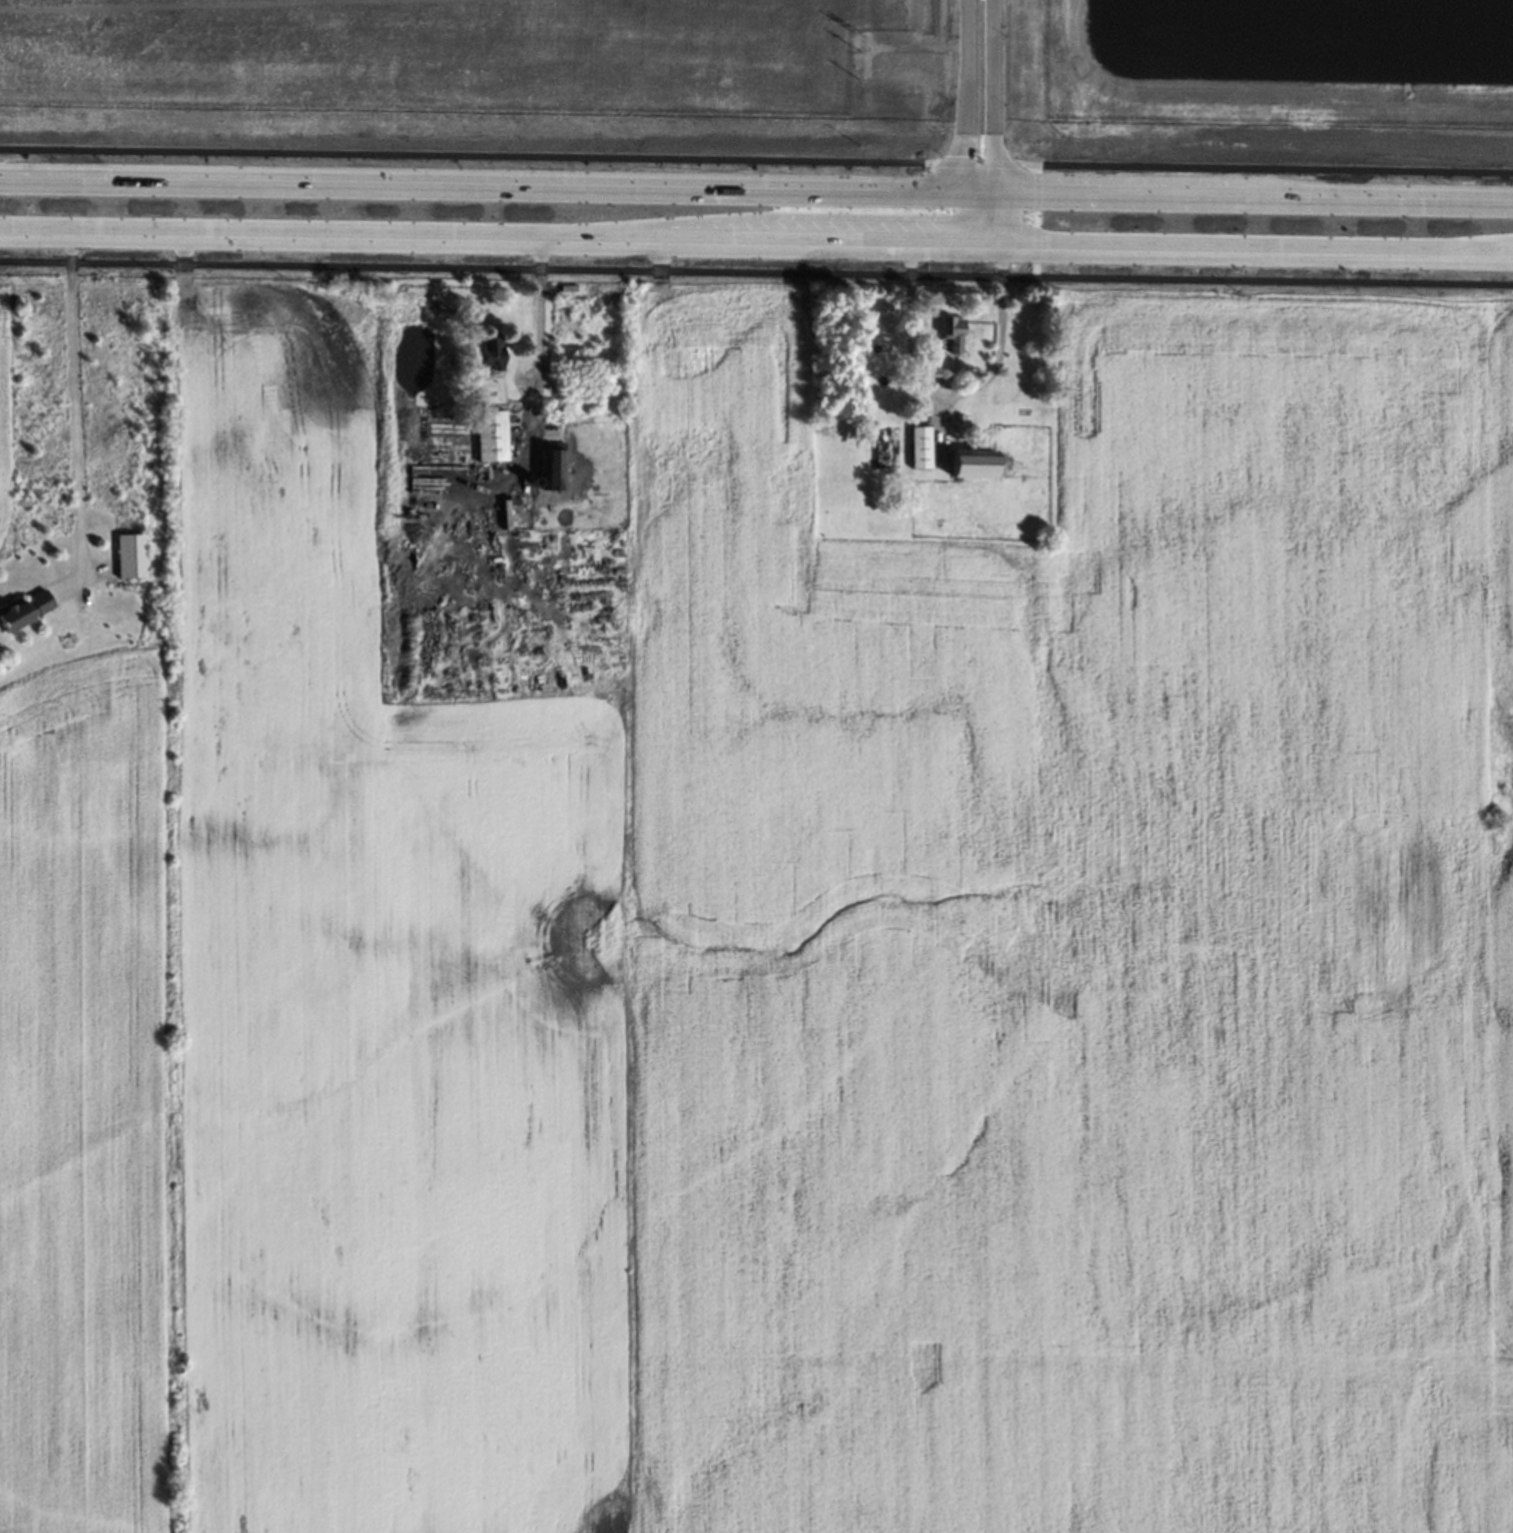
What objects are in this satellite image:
road: (964, 94)
road: (991, 94)
road: (466, 155)
road: (976, 163)
road: (1266, 169)
road: (481, 182)
road: (978, 189)
road: (1253, 194)
road: (962, 203)
road: (981, 208)
road: (762, 215)
road: (993, 218)
road: (962, 231)
road: (496, 239)
road: (1253, 248)
road: (756, 272)
road: (539, 325)
building: (947, 330)
building: (487, 349)
road: (948, 393)
building: (909, 396)
crop: (8, 401)
road: (74, 407)
building: (952, 409)
building: (487, 434)
building: (914, 440)
building: (967, 455)
building: (549, 456)
building: (510, 499)
building: (128, 549)
building: (22, 603)
crop: (1497, 789)
crop: (1059, 961)
crop: (375, 996)
crop: (90, 1110)

